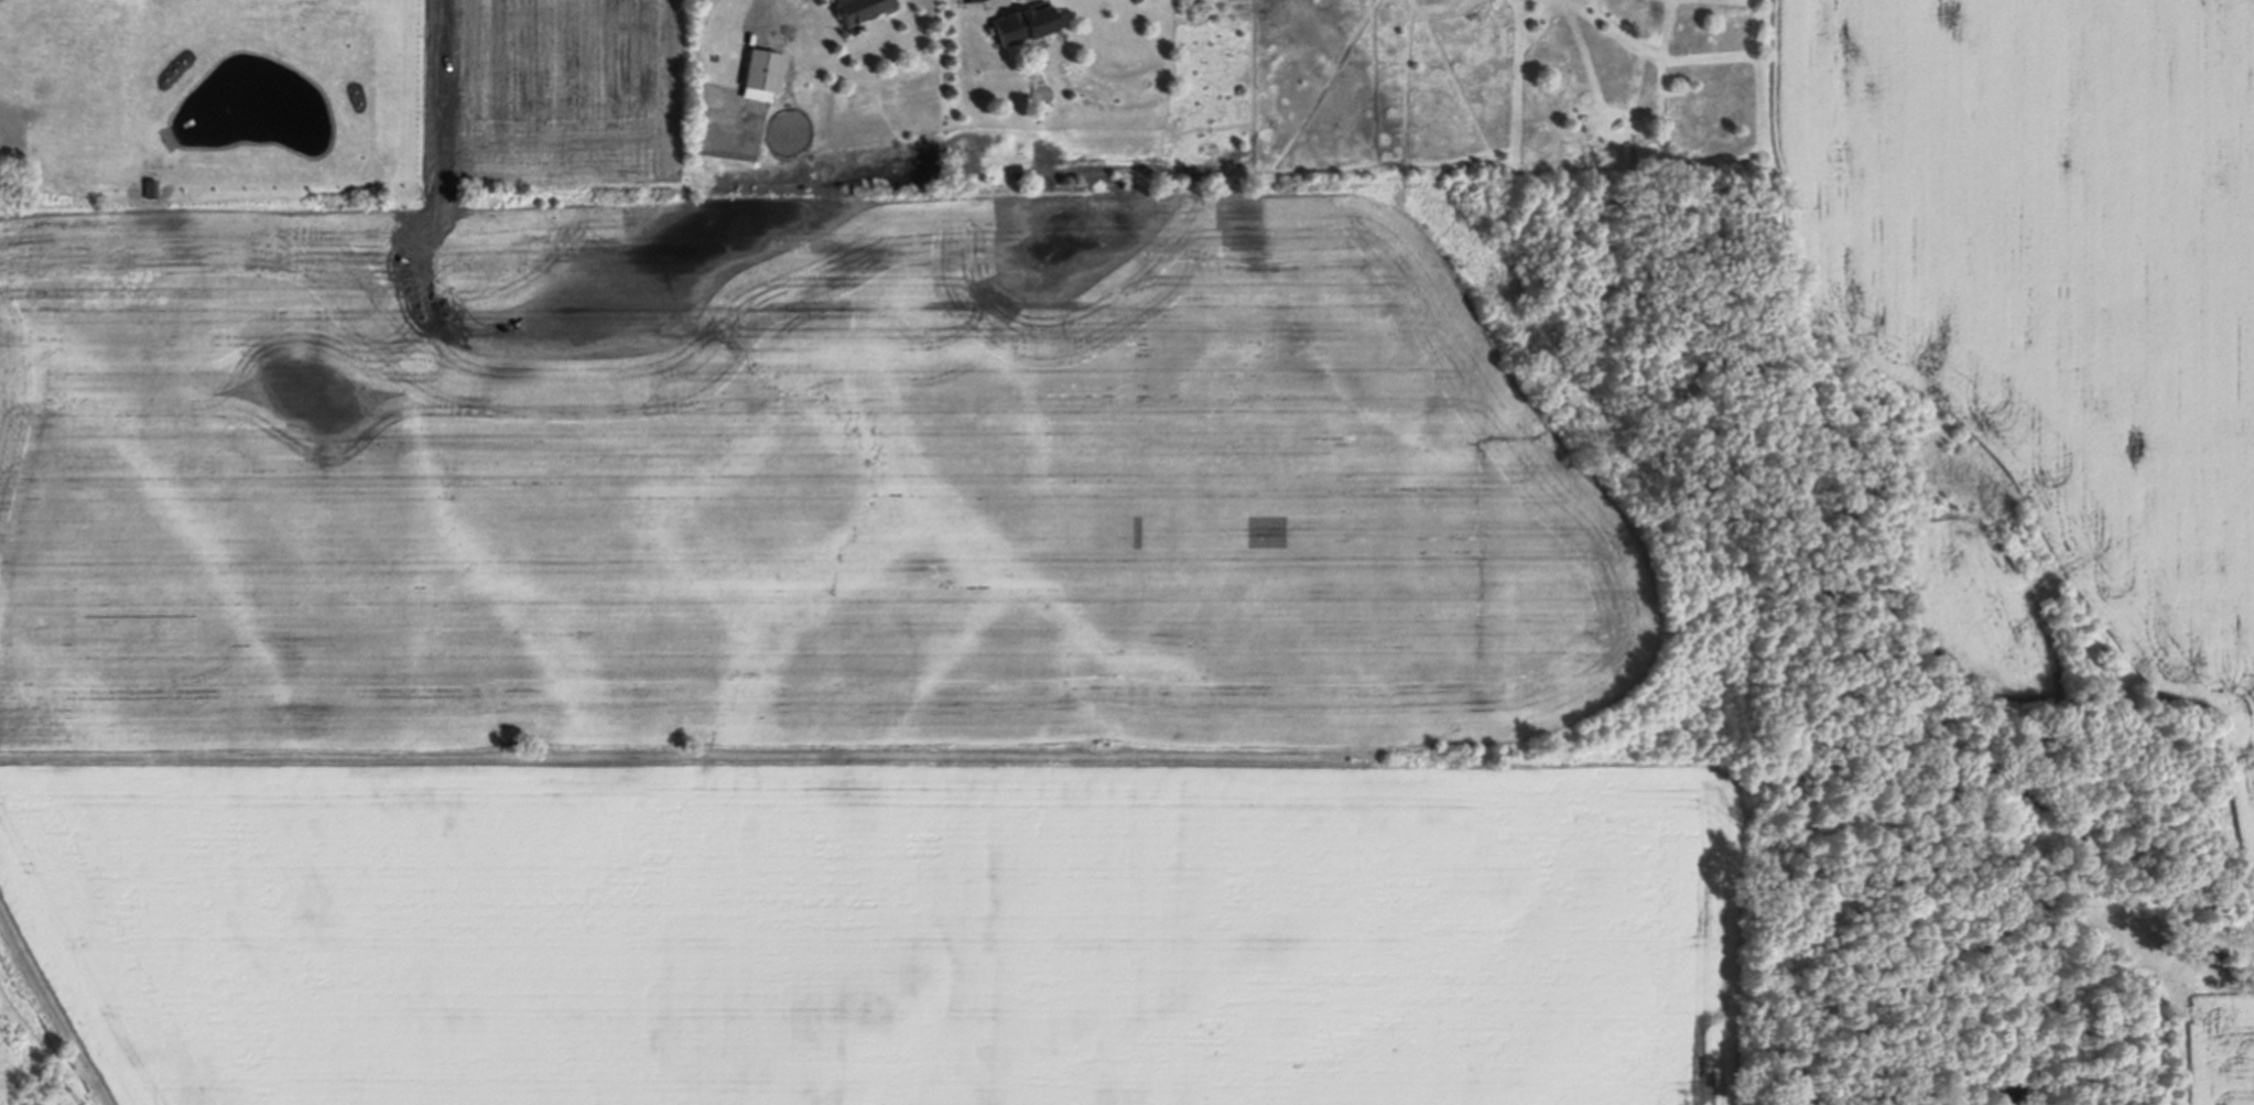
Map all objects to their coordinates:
building: (860, 9)
building: (1023, 22)
building: (36, 46)
building: (4, 50)
building: (763, 69)
building: (3, 87)
road: (3, 119)
building: (66, 142)

